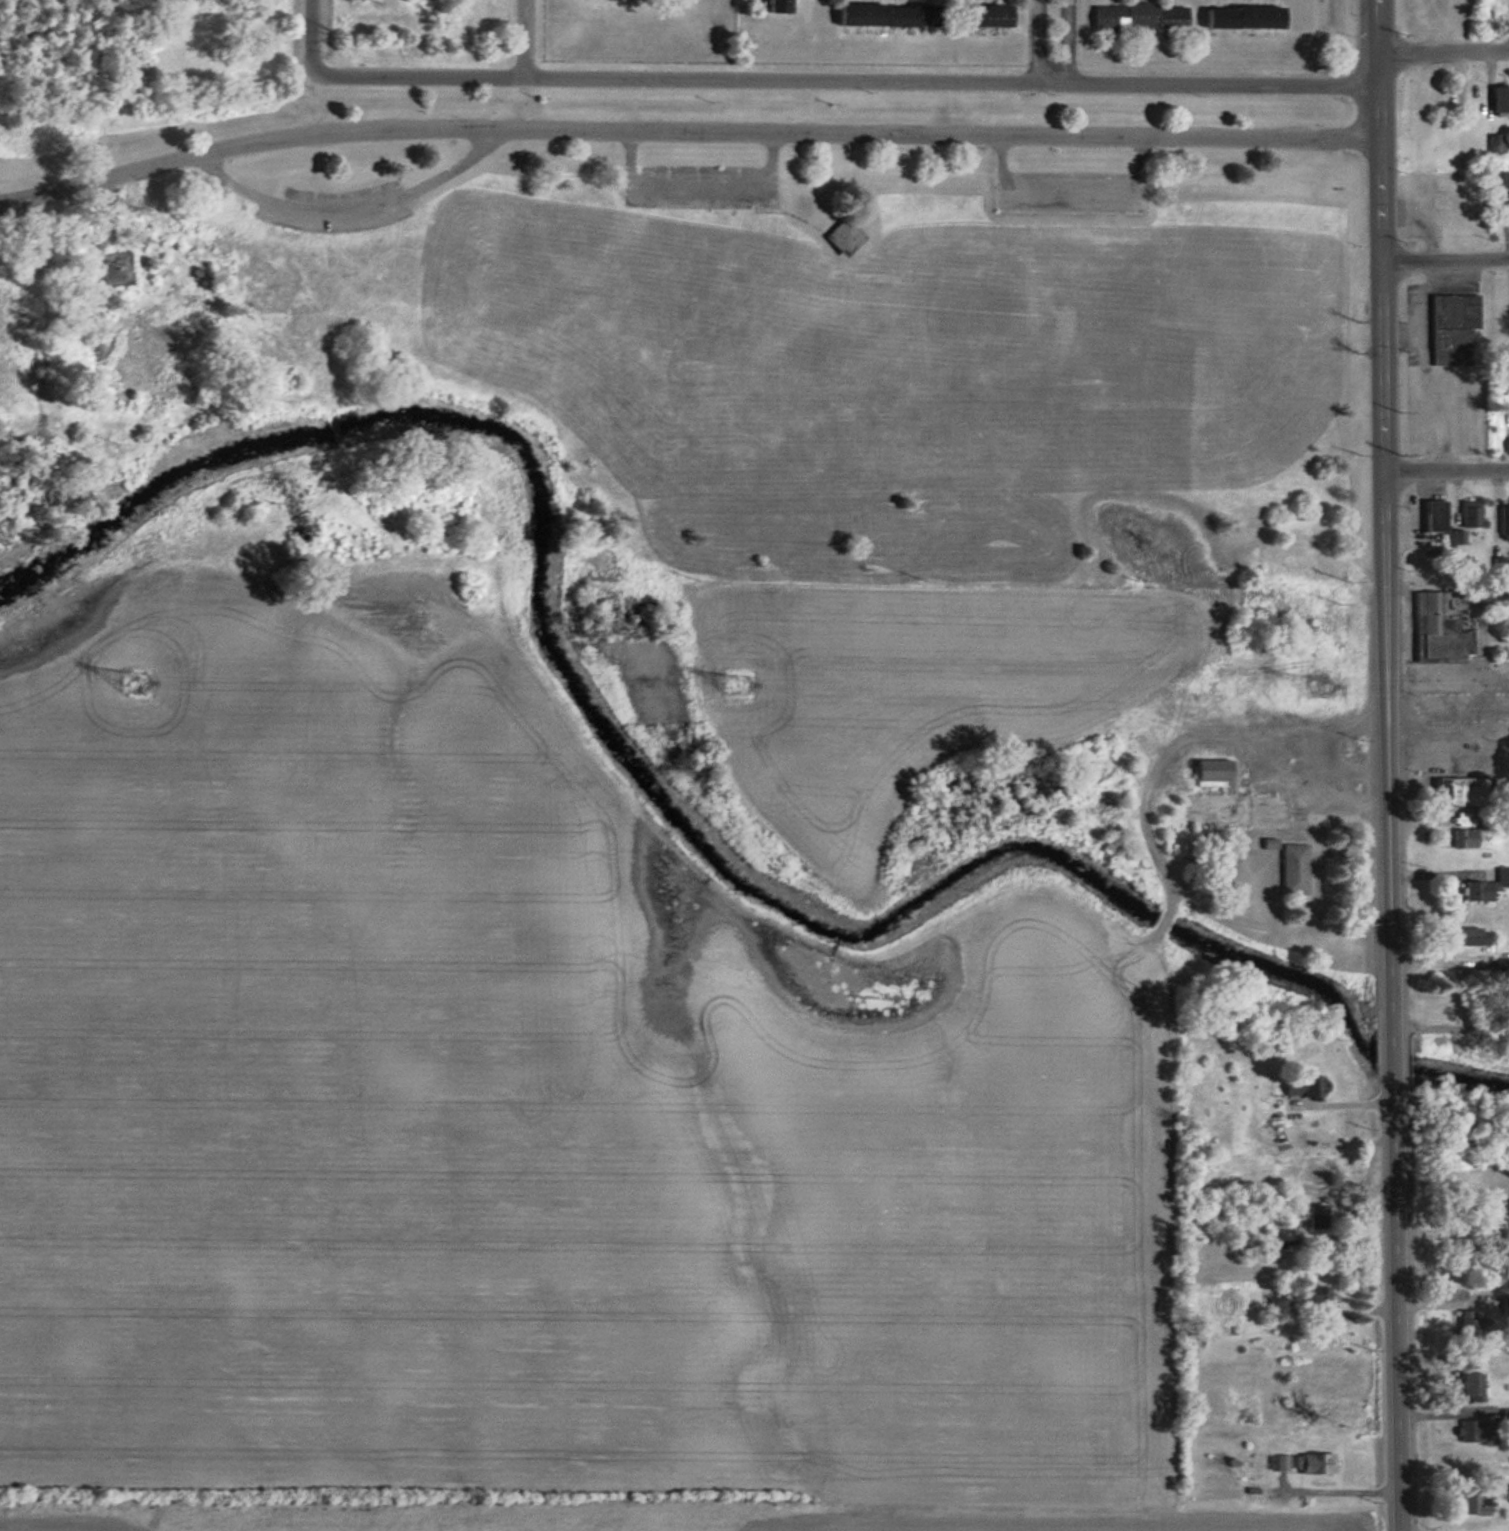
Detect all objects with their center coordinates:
building: (788, 6)
building: (874, 16)
building: (975, 16)
building: (1134, 17)
building: (1239, 18)
road: (314, 35)
road: (526, 39)
road: (1055, 42)
road: (1445, 51)
road: (848, 81)
building: (1473, 97)
building: (1499, 101)
road: (686, 132)
parking lot: (699, 183)
road: (700, 185)
parking lot: (1068, 191)
road: (1072, 195)
building: (1506, 205)
parking lot: (343, 206)
road: (341, 207)
road: (1381, 235)
building: (850, 236)
road: (1445, 261)
building: (1450, 329)
park: (1255, 341)
park: (1073, 348)
park: (708, 350)
park: (895, 356)
road: (1447, 471)
building: (1467, 513)
building: (1428, 515)
building: (1502, 521)
building: (1507, 621)
building: (1421, 624)
power tower: (135, 681)
power tower: (735, 685)
power tower: (1317, 688)
building: (1449, 784)
building: (1463, 839)
building: (1291, 870)
building: (1475, 891)
building: (1462, 937)
road: (1392, 1001)
building: (1301, 1087)
road: (1347, 1103)
road: (1452, 1231)
building: (1309, 1295)
building: (1466, 1388)
road: (1443, 1413)
building: (1503, 1419)
building: (1468, 1432)
building: (1303, 1463)
building: (1507, 1495)
building: (1472, 1503)

